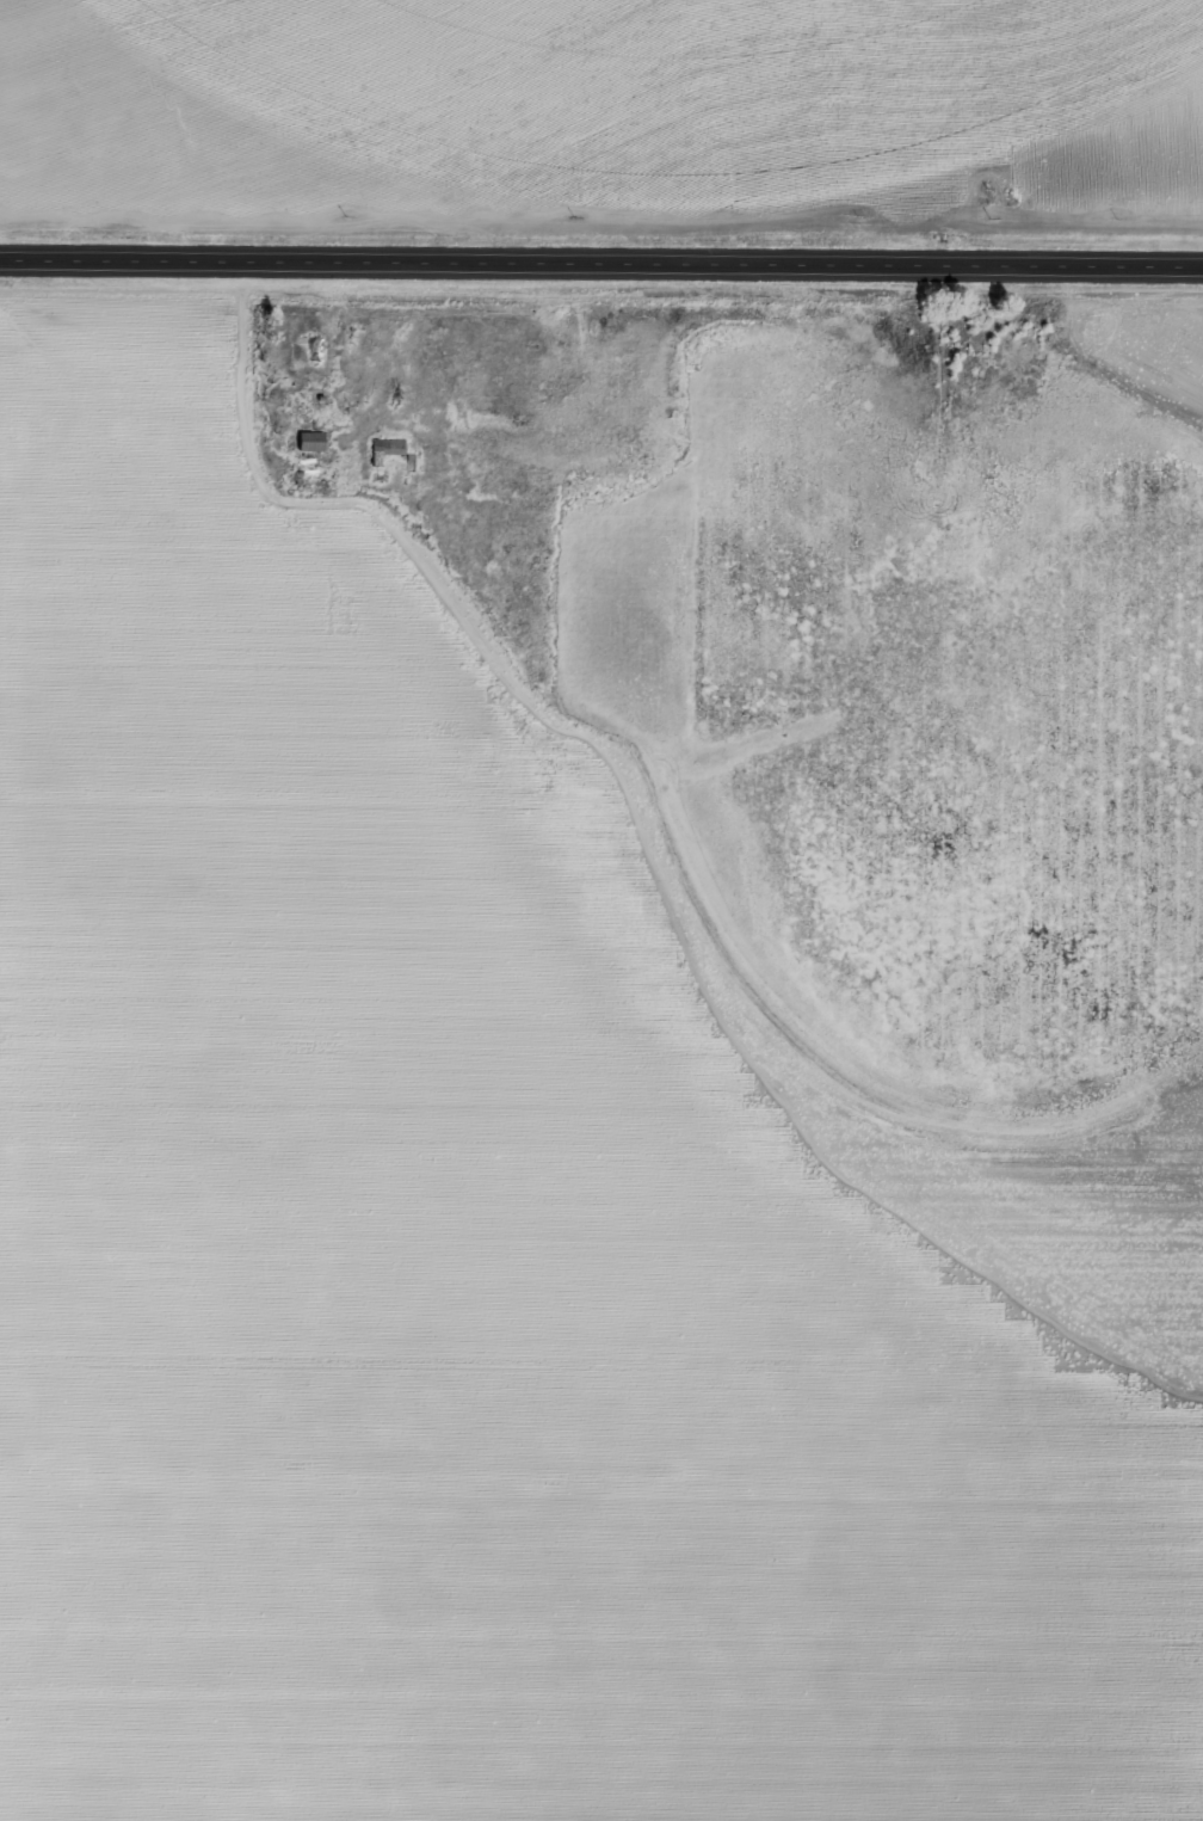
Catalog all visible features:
road: (601, 278)

